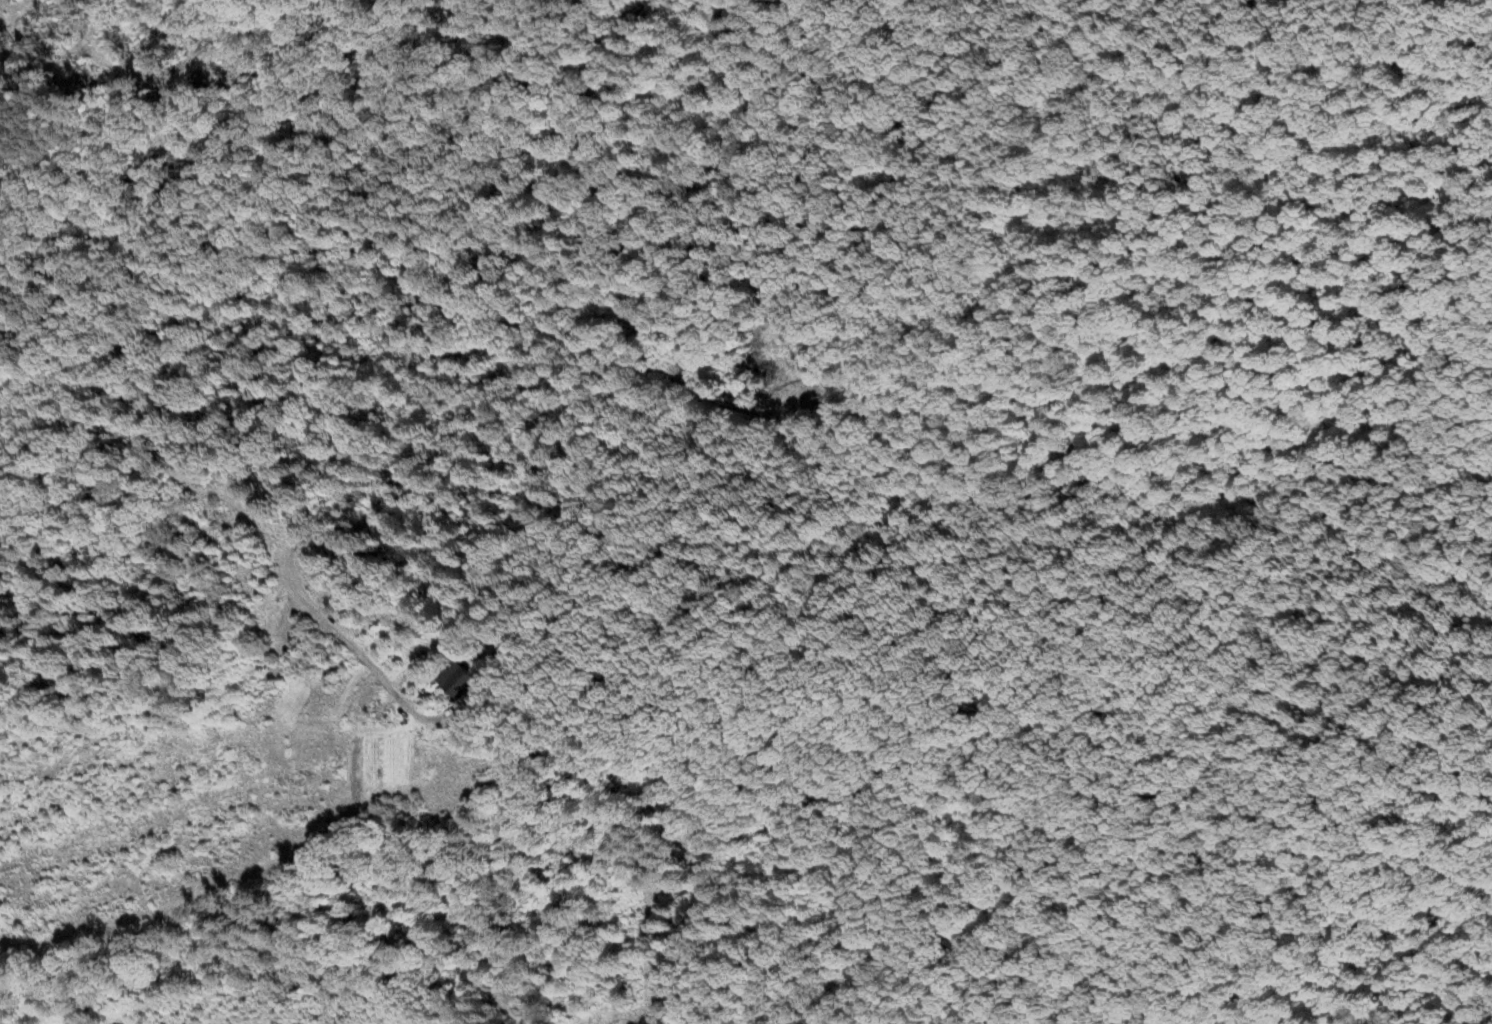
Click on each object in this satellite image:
building: (458, 681)

